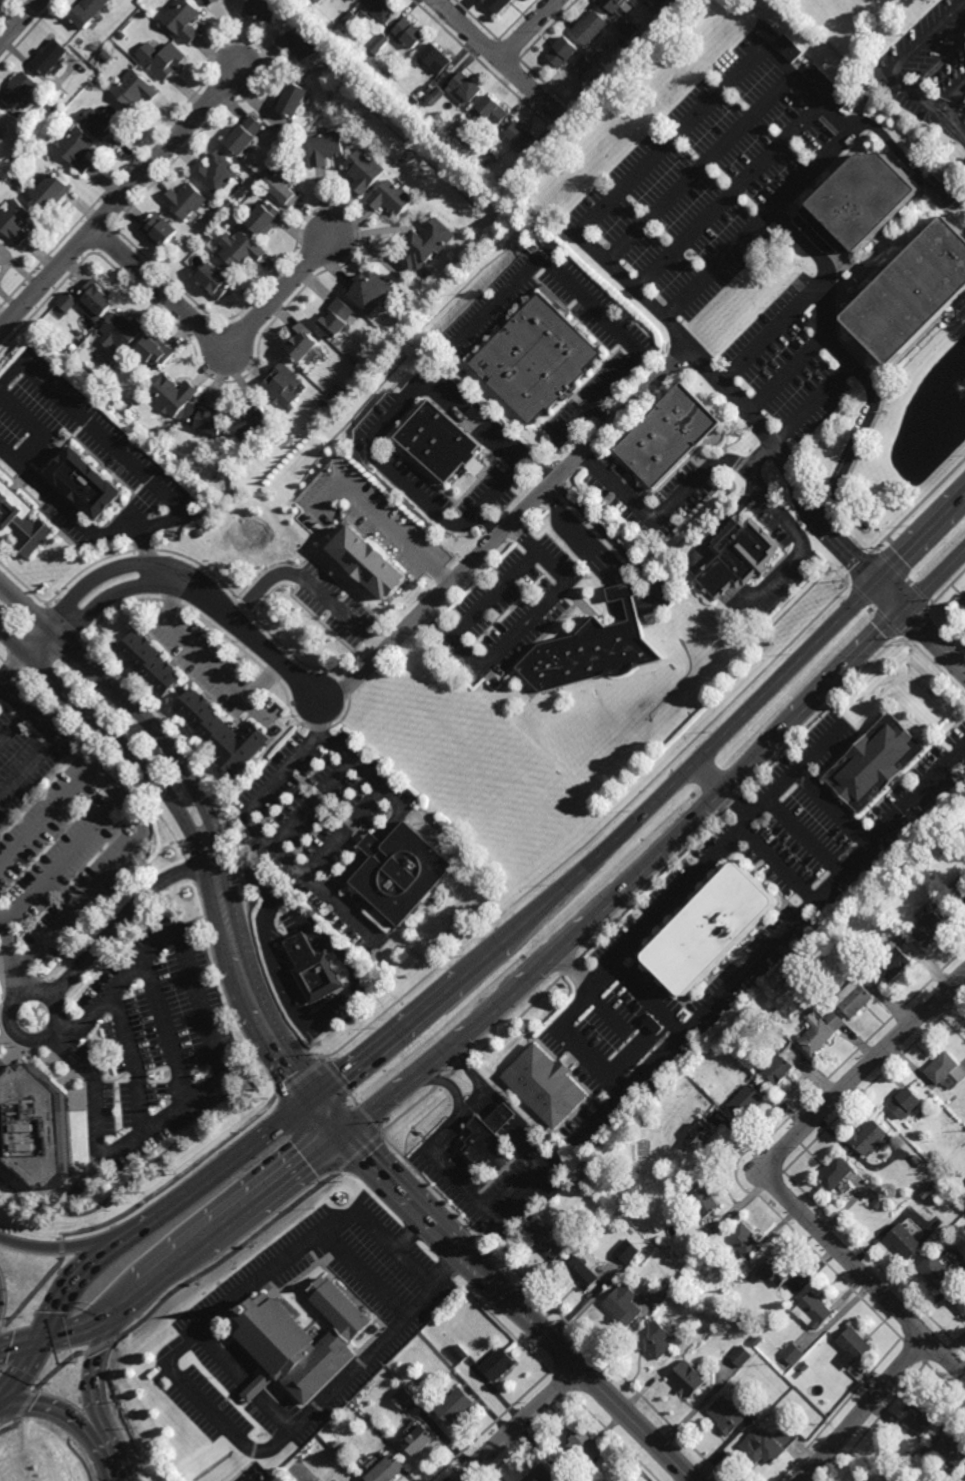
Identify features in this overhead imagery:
building: (354, 0)
building: (318, 1)
building: (210, 2)
building: (614, 4)
building: (676, 4)
building: (498, 5)
building: (262, 10)
building: (380, 10)
building: (87, 12)
building: (183, 19)
building: (350, 19)
road: (20, 22)
building: (590, 27)
building: (630, 28)
road: (529, 30)
building: (410, 32)
building: (122, 35)
building: (349, 40)
building: (301, 42)
building: (378, 44)
building: (788, 48)
building: (563, 51)
building: (106, 55)
building: (51, 56)
building: (161, 58)
building: (434, 60)
road: (500, 60)
building: (585, 64)
road: (940, 71)
road: (892, 73)
building: (433, 85)
building: (826, 86)
building: (135, 88)
building: (19, 89)
building: (465, 89)
building: (436, 96)
road: (951, 96)
building: (412, 97)
building: (292, 98)
building: (494, 110)
building: (1, 116)
building: (102, 120)
building: (347, 127)
road: (883, 134)
building: (246, 135)
building: (352, 136)
building: (520, 136)
building: (481, 142)
building: (76, 147)
building: (327, 148)
building: (488, 157)
road: (644, 169)
road: (699, 169)
building: (365, 171)
building: (219, 172)
building: (19, 186)
building: (283, 188)
building: (53, 191)
road: (728, 197)
building: (392, 198)
building: (187, 200)
road: (120, 201)
building: (230, 203)
building: (864, 205)
building: (221, 208)
building: (266, 218)
building: (15, 220)
building: (162, 230)
building: (427, 245)
building: (244, 251)
building: (217, 281)
building: (371, 291)
building: (913, 294)
building: (98, 300)
building: (68, 301)
road: (583, 301)
building: (338, 320)
building: (122, 331)
building: (79, 332)
road: (772, 334)
road: (216, 335)
building: (302, 344)
building: (156, 351)
building: (538, 358)
road: (849, 363)
building: (87, 372)
road: (786, 376)
building: (281, 385)
building: (172, 393)
building: (322, 403)
road: (811, 404)
building: (251, 417)
building: (209, 418)
road: (575, 423)
road: (33, 430)
building: (157, 431)
road: (381, 433)
building: (670, 433)
building: (446, 437)
building: (283, 441)
road: (758, 455)
building: (87, 480)
building: (239, 491)
road: (175, 503)
road: (735, 517)
building: (21, 520)
road: (490, 523)
road: (506, 529)
building: (174, 533)
road: (393, 539)
road: (149, 551)
building: (738, 557)
building: (370, 562)
traffic signals: (878, 582)
road: (308, 589)
road: (80, 590)
road: (496, 595)
road: (892, 597)
road: (655, 605)
road: (88, 609)
traffic signals: (906, 613)
road: (524, 624)
road: (242, 627)
road: (935, 642)
building: (594, 649)
road: (201, 654)
building: (150, 663)
road: (13, 666)
road: (263, 680)
road: (134, 707)
road: (736, 722)
road: (14, 728)
building: (222, 732)
road: (776, 738)
road: (117, 740)
road: (49, 745)
building: (877, 763)
road: (708, 777)
road: (812, 786)
road: (383, 794)
road: (311, 804)
road: (736, 804)
road: (137, 821)
road: (260, 831)
road: (344, 834)
road: (805, 836)
road: (369, 857)
road: (62, 861)
road: (774, 866)
road: (191, 870)
building: (402, 873)
building: (958, 888)
road: (673, 897)
road: (124, 918)
building: (711, 930)
building: (931, 930)
building: (825, 935)
road: (770, 943)
road: (13, 954)
road: (481, 961)
building: (893, 964)
building: (314, 970)
road: (224, 994)
building: (854, 998)
road: (644, 1000)
road: (954, 1007)
road: (605, 1009)
road: (256, 1010)
road: (56, 1012)
building: (653, 1023)
road: (308, 1025)
road: (465, 1029)
road: (166, 1030)
building: (820, 1031)
road: (387, 1041)
road: (574, 1045)
road: (636, 1049)
road: (131, 1060)
road: (222, 1065)
building: (779, 1069)
building: (946, 1070)
road: (865, 1072)
building: (543, 1084)
building: (745, 1101)
traffic signals: (315, 1102)
road: (469, 1102)
building: (906, 1103)
building: (41, 1119)
traffic signals: (342, 1133)
building: (702, 1134)
road: (437, 1135)
building: (489, 1136)
building: (871, 1137)
road: (533, 1153)
road: (237, 1158)
building: (916, 1162)
building: (939, 1164)
road: (143, 1169)
building: (946, 1170)
building: (836, 1173)
road: (273, 1187)
building: (704, 1201)
road: (140, 1203)
road: (139, 1228)
road: (413, 1232)
building: (552, 1238)
building: (904, 1240)
building: (744, 1242)
road: (59, 1246)
building: (627, 1250)
road: (174, 1265)
road: (414, 1267)
building: (775, 1271)
building: (936, 1271)
road: (449, 1272)
building: (582, 1272)
road: (363, 1276)
road: (864, 1276)
road: (69, 1284)
road: (175, 1289)
building: (662, 1292)
road: (130, 1301)
building: (624, 1304)
building: (961, 1304)
road: (517, 1306)
building: (814, 1310)
traffic signals: (116, 1312)
road: (78, 1331)
building: (705, 1337)
building: (654, 1339)
building: (301, 1340)
building: (757, 1340)
traffic signals: (37, 1341)
road: (18, 1344)
building: (853, 1347)
building: (792, 1352)
building: (460, 1353)
building: (741, 1355)
building: (499, 1364)
building: (805, 1366)
road: (20, 1370)
building: (687, 1378)
road: (246, 1381)
road: (88, 1385)
road: (193, 1390)
building: (404, 1397)
building: (456, 1405)
road: (864, 1409)
road: (64, 1414)
building: (730, 1415)
building: (916, 1419)
road: (519, 1425)
building: (419, 1439)
building: (894, 1442)
building: (767, 1445)
building: (581, 1449)
building: (951, 1449)
building: (923, 1453)
building: (388, 1469)
road: (115, 1470)
building: (542, 1474)
building: (317, 1480)

